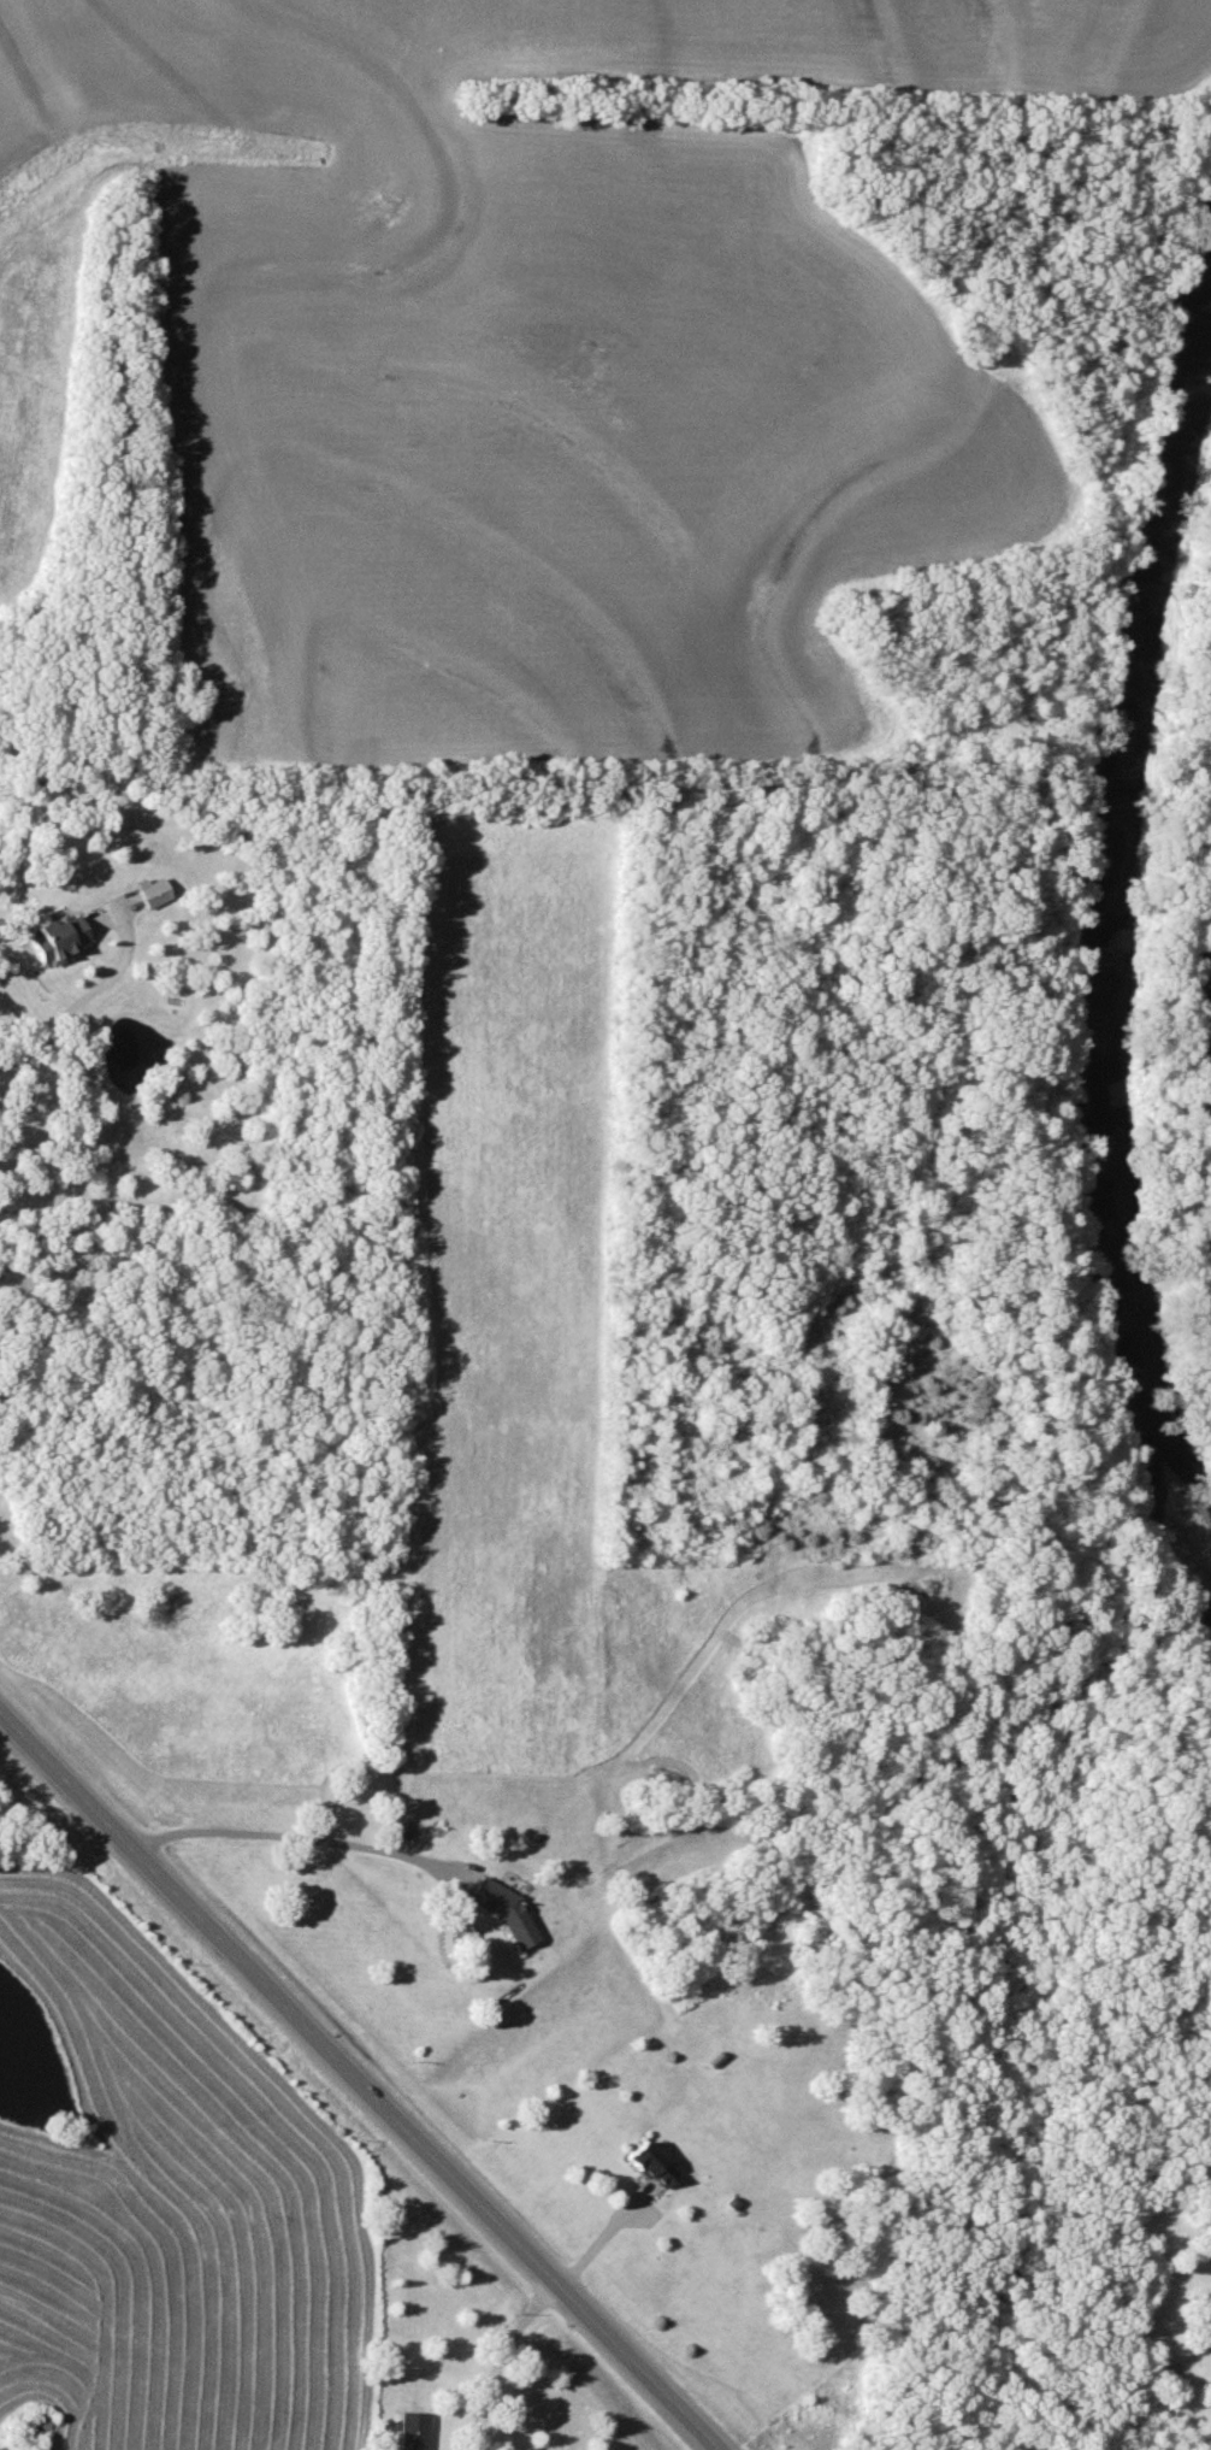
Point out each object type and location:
river: (1093, 926)
building: (59, 936)
road: (37, 1071)
road: (392, 1851)
building: (500, 1906)
road: (360, 2079)
building: (651, 2161)
road: (496, 2356)
building: (35, 2428)
building: (413, 2430)

